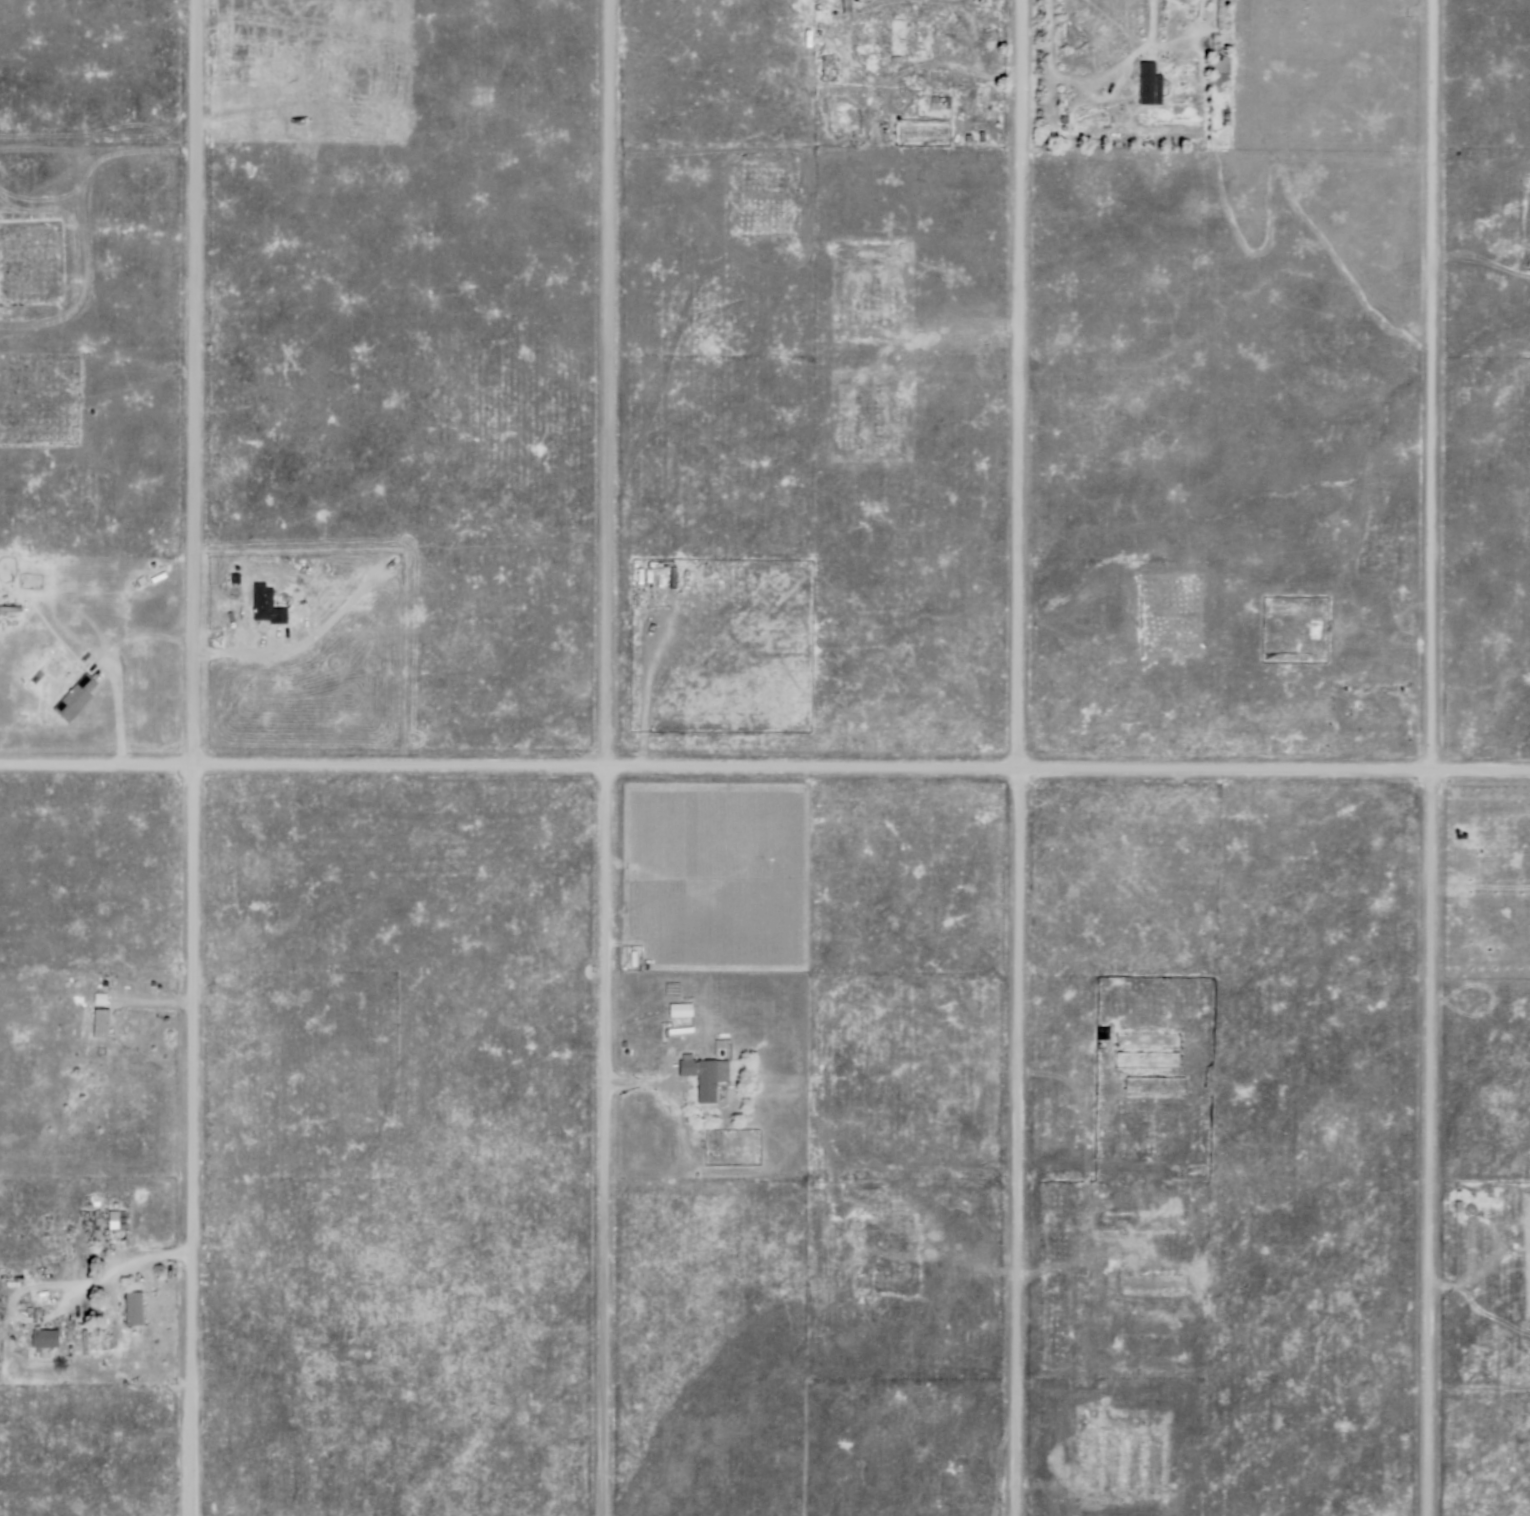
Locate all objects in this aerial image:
building: (848, 8)
building: (900, 39)
road: (1124, 54)
building: (1150, 84)
building: (937, 103)
building: (88, 385)
road: (602, 386)
building: (103, 392)
building: (237, 578)
building: (268, 605)
building: (11, 610)
building: (78, 698)
road: (188, 757)
road: (1013, 758)
road: (1425, 758)
road: (764, 772)
building: (102, 999)
building: (102, 1023)
building: (702, 1075)
road: (598, 1144)
building: (114, 1221)
building: (134, 1307)
building: (42, 1339)

